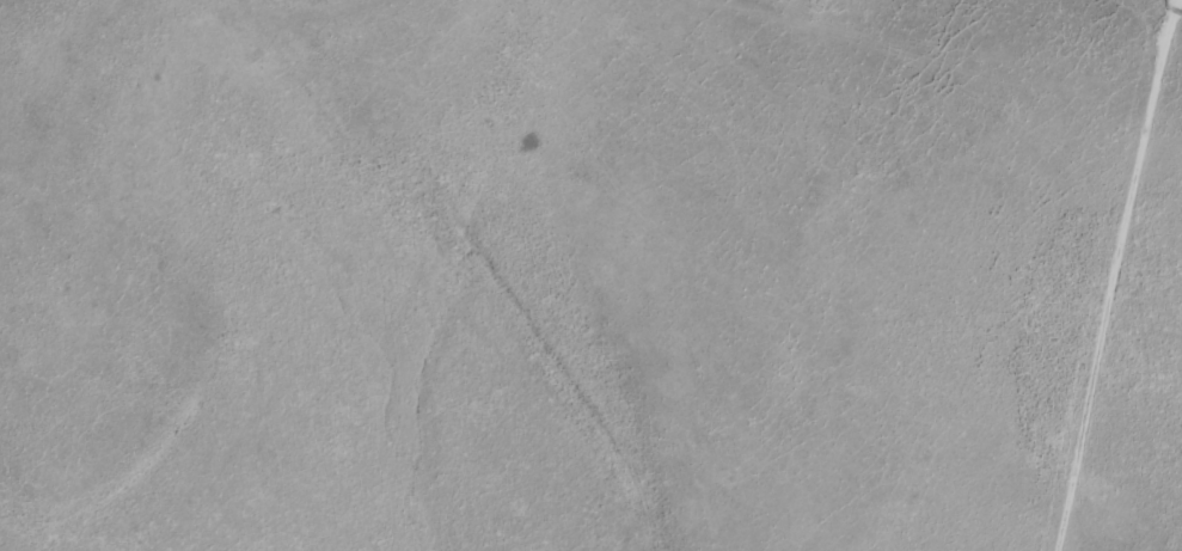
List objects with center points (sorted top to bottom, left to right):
road: (1120, 275)

